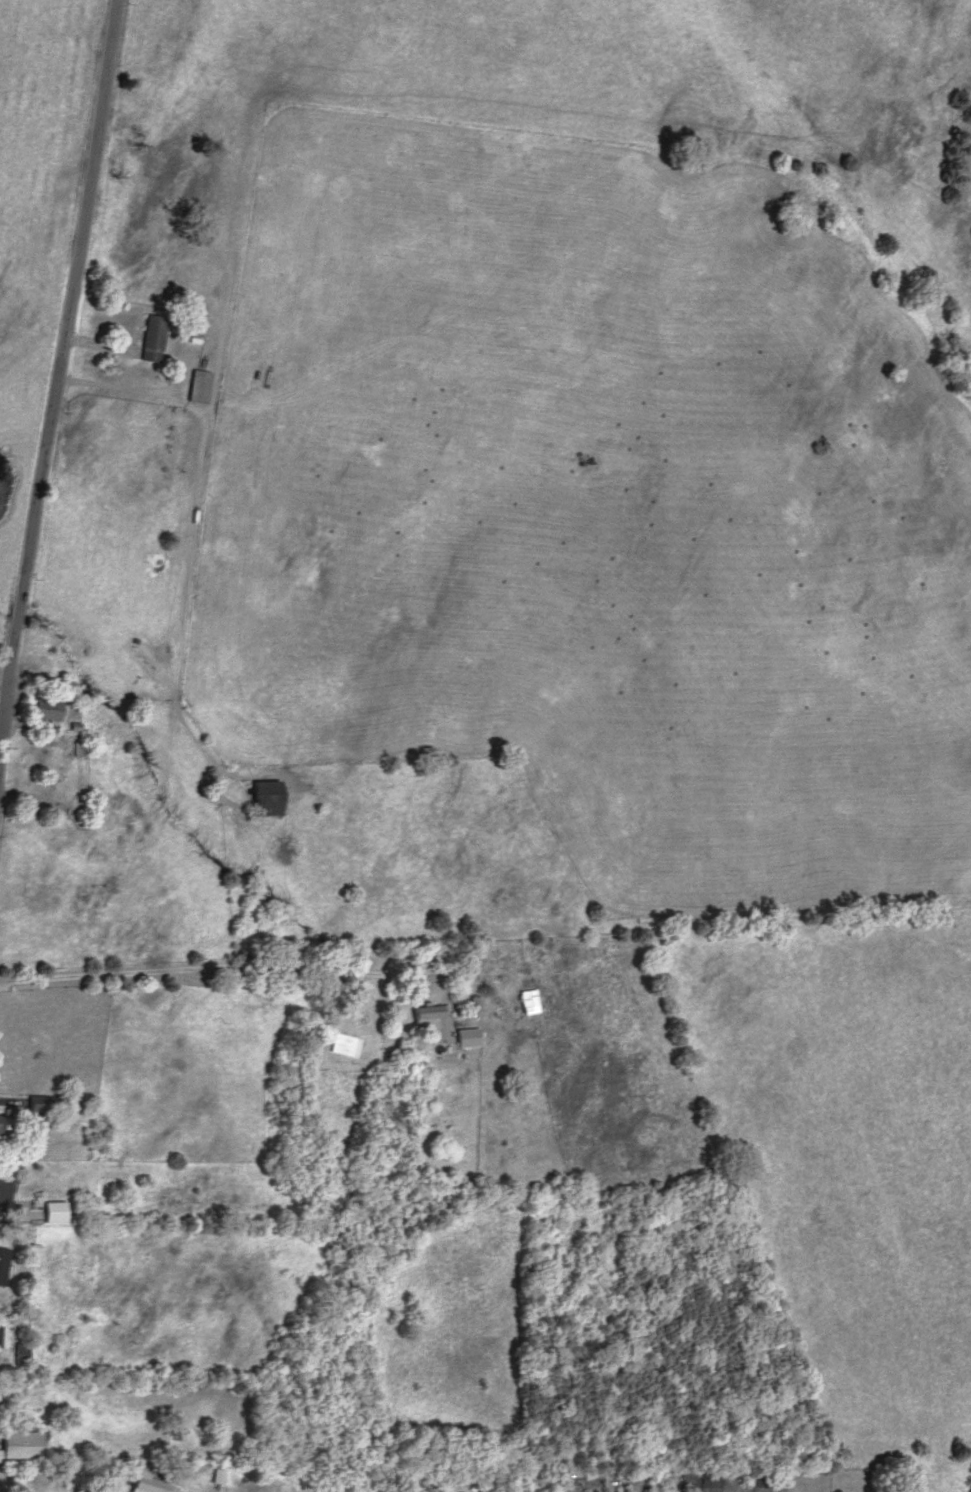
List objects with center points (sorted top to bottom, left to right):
building: (155, 339)
building: (201, 387)
road: (58, 397)
building: (49, 709)
building: (81, 749)
building: (270, 799)
road: (200, 987)
building: (531, 1002)
building: (436, 1021)
building: (470, 1037)
building: (5, 1195)
building: (56, 1211)
building: (4, 1265)
building: (0, 1333)
building: (28, 1440)
building: (223, 1477)
building: (757, 1479)
building: (151, 1482)
building: (414, 1482)
building: (701, 1482)

